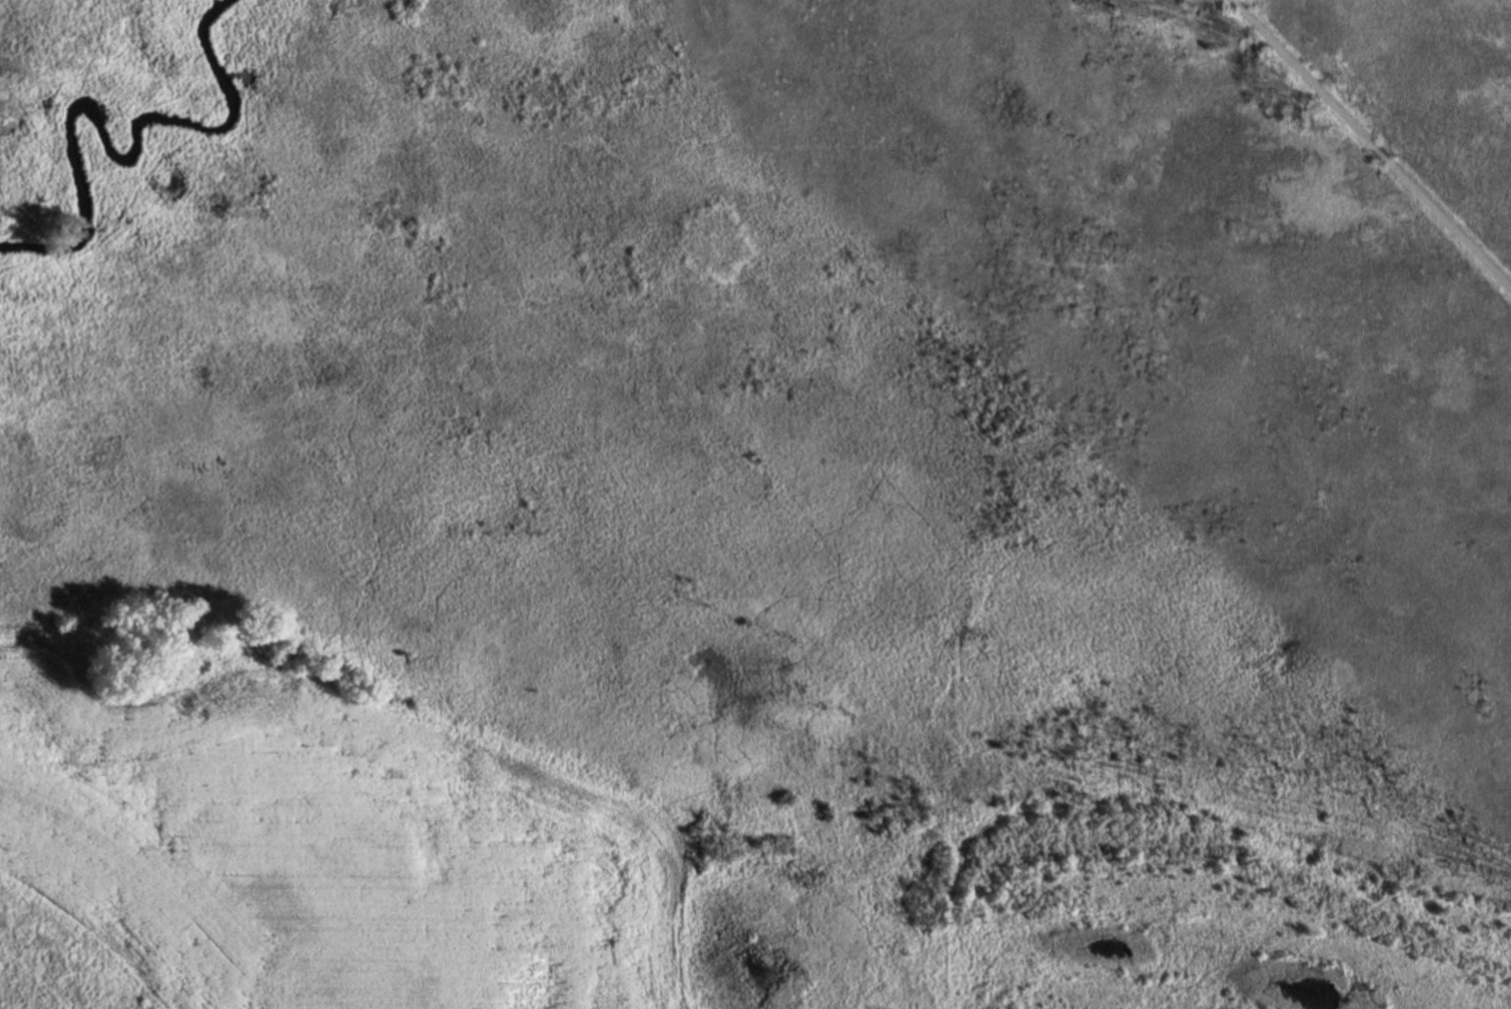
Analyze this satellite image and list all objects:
road: (1370, 145)

